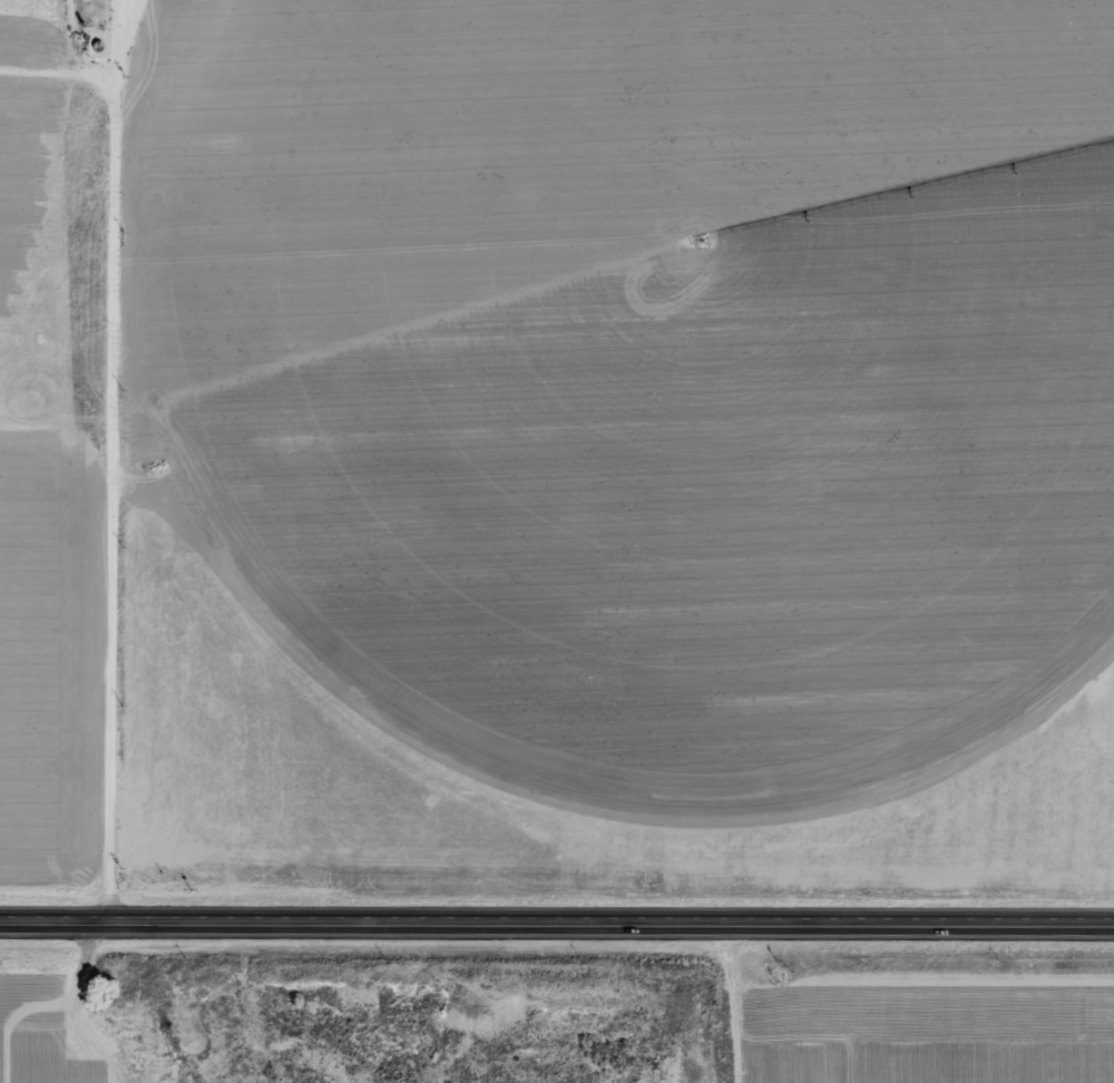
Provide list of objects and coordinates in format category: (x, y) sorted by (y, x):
road: (118, 464)
road: (557, 928)

